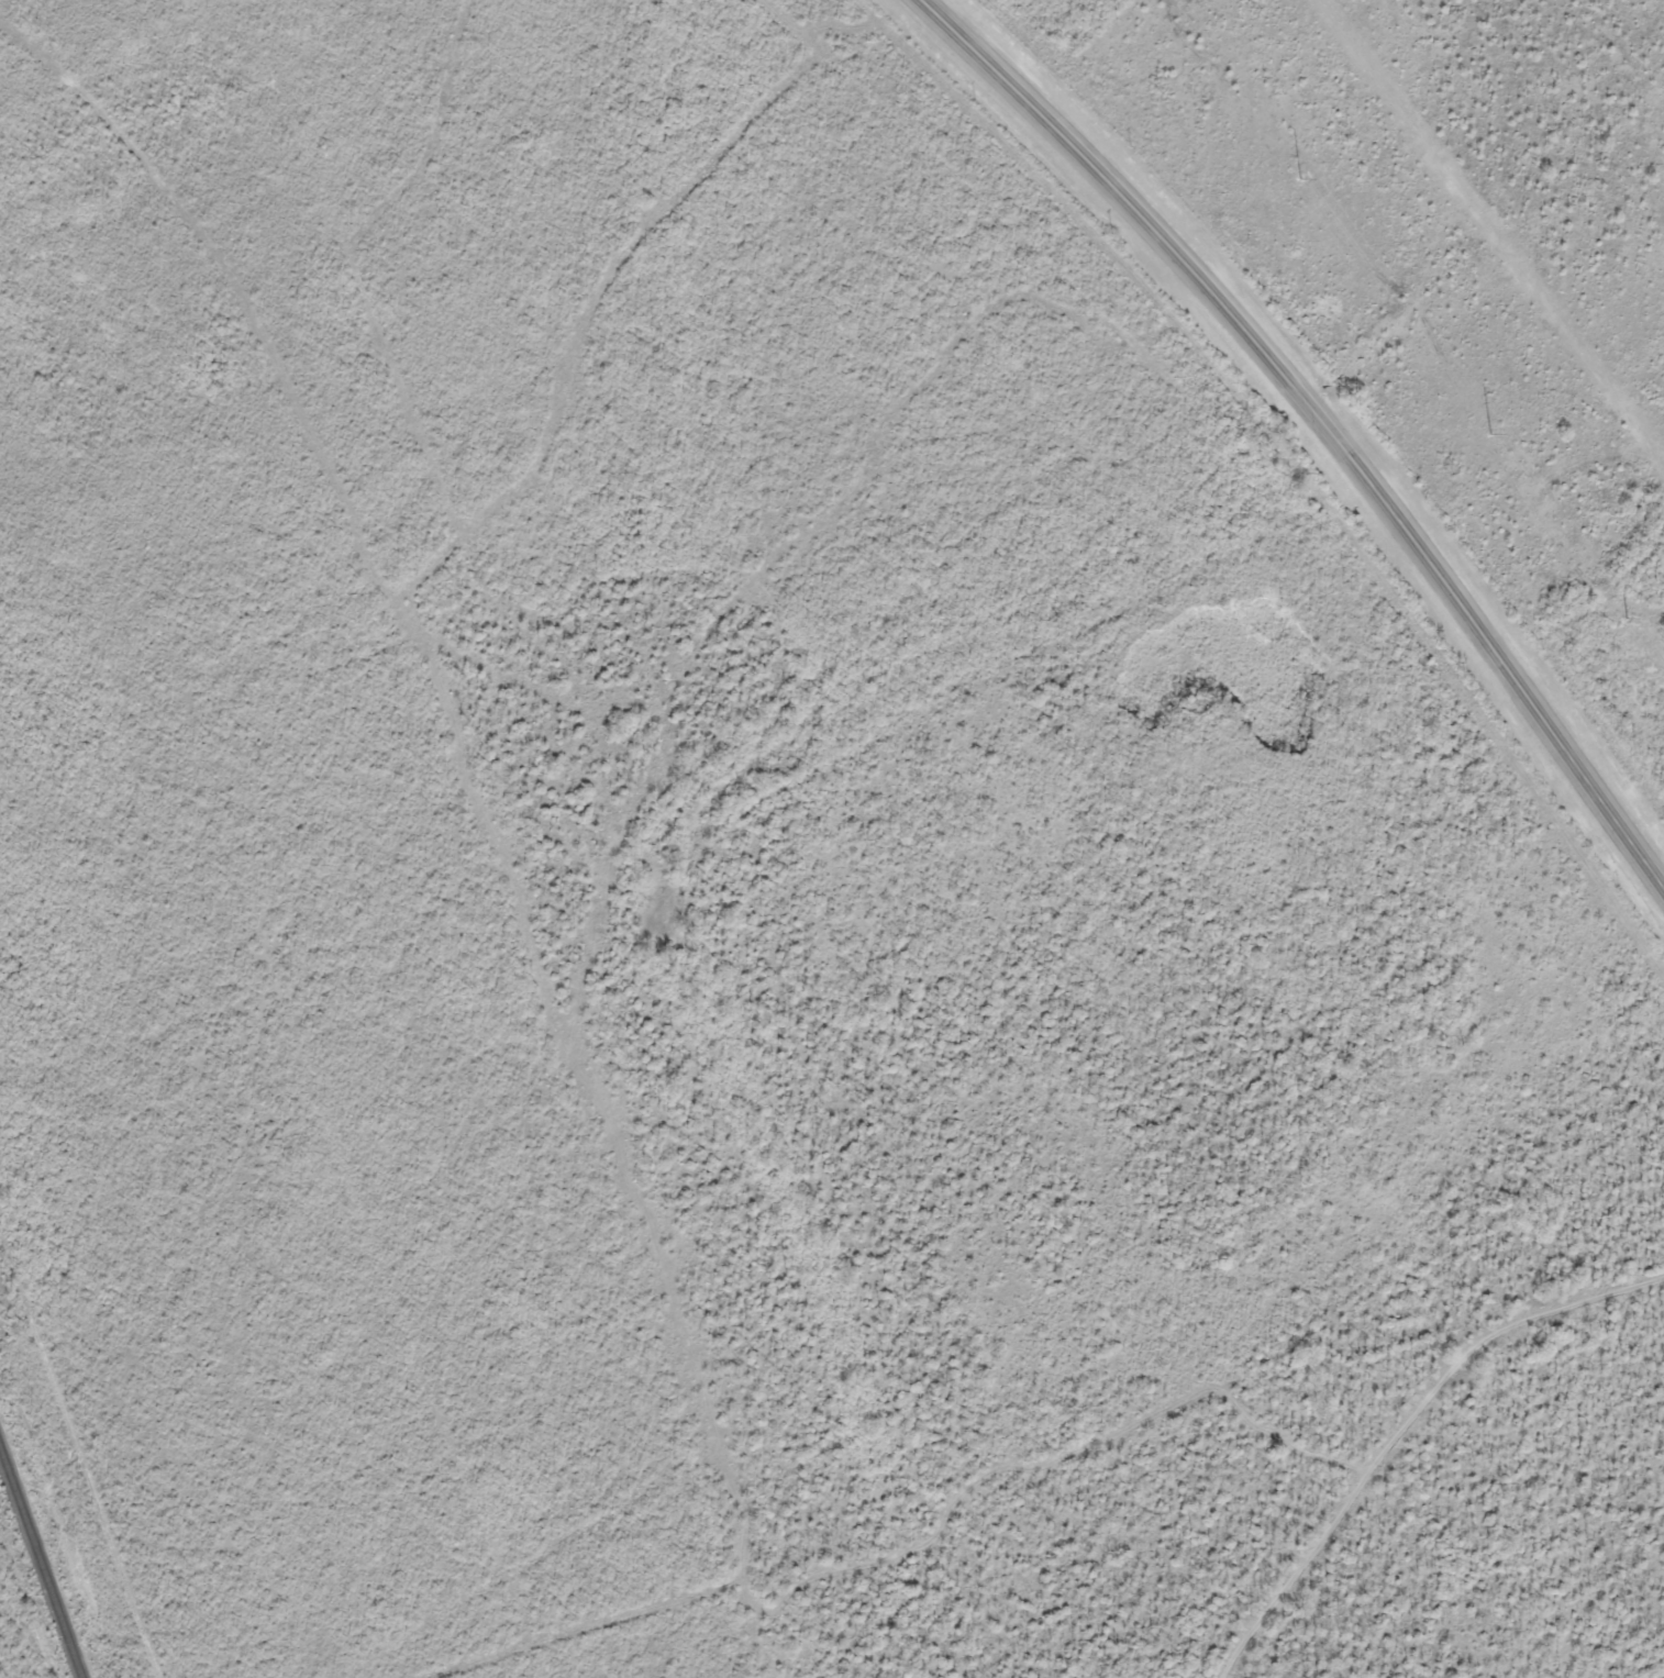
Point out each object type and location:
power tower: (1299, 177)
road: (1320, 420)
power tower: (1490, 437)
power tower: (1624, 621)
railway: (41, 1562)

